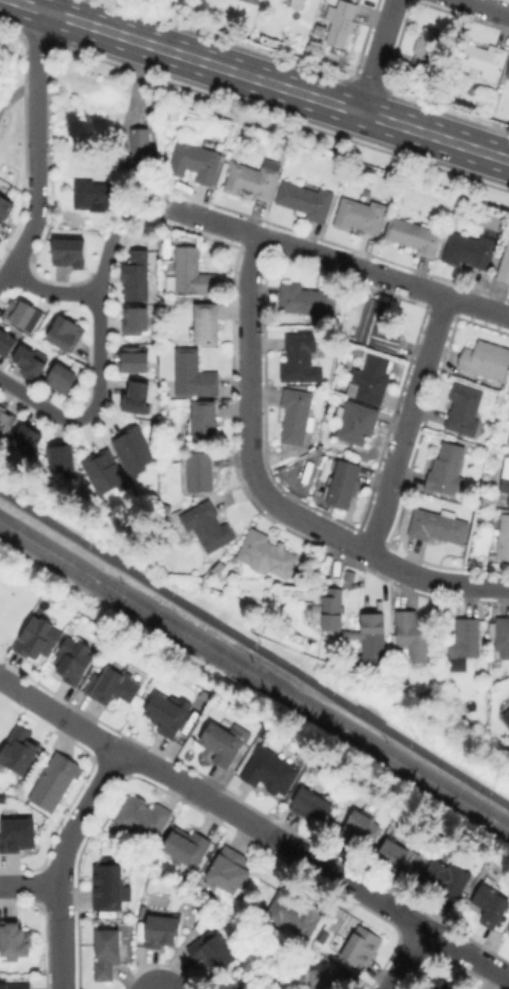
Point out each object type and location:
building: (303, 0)
road: (490, 6)
building: (341, 21)
building: (319, 28)
building: (426, 49)
building: (313, 53)
road: (376, 56)
building: (483, 59)
building: (508, 73)
road: (259, 79)
road: (16, 94)
road: (126, 106)
building: (172, 112)
building: (140, 140)
road: (36, 149)
building: (196, 161)
building: (253, 179)
building: (100, 194)
building: (306, 200)
building: (4, 203)
building: (360, 215)
building: (414, 235)
building: (471, 249)
building: (68, 250)
road: (334, 261)
building: (505, 266)
building: (190, 272)
building: (138, 277)
road: (47, 291)
building: (306, 299)
building: (18, 309)
building: (139, 322)
building: (207, 323)
building: (378, 325)
building: (64, 330)
building: (7, 343)
building: (299, 355)
building: (28, 359)
road: (246, 359)
building: (486, 360)
building: (137, 361)
road: (98, 373)
building: (194, 374)
building: (59, 377)
building: (370, 379)
building: (138, 399)
building: (464, 409)
building: (297, 416)
building: (4, 417)
building: (201, 420)
building: (356, 422)
road: (406, 424)
building: (29, 442)
building: (508, 442)
building: (136, 452)
building: (65, 461)
building: (447, 469)
building: (201, 470)
building: (106, 473)
building: (505, 477)
building: (342, 483)
building: (488, 502)
building: (508, 503)
building: (165, 507)
building: (207, 525)
building: (438, 525)
building: (502, 539)
building: (265, 553)
road: (372, 555)
building: (332, 610)
building: (499, 634)
building: (38, 636)
building: (411, 637)
building: (465, 639)
building: (373, 642)
road: (255, 645)
building: (74, 661)
railway: (254, 669)
railway: (254, 681)
building: (109, 688)
building: (167, 715)
building: (507, 715)
building: (223, 746)
building: (18, 750)
building: (270, 771)
building: (56, 783)
building: (315, 801)
building: (144, 819)
building: (362, 826)
road: (256, 828)
building: (18, 835)
building: (186, 848)
building: (397, 859)
road: (59, 863)
building: (232, 872)
building: (446, 878)
road: (29, 886)
building: (109, 888)
building: (490, 902)
building: (294, 913)
building: (508, 930)
building: (159, 931)
building: (508, 933)
building: (15, 941)
building: (362, 946)
building: (210, 951)
building: (107, 955)
road: (404, 958)
building: (326, 979)
building: (231, 985)
building: (443, 985)
building: (14, 987)

